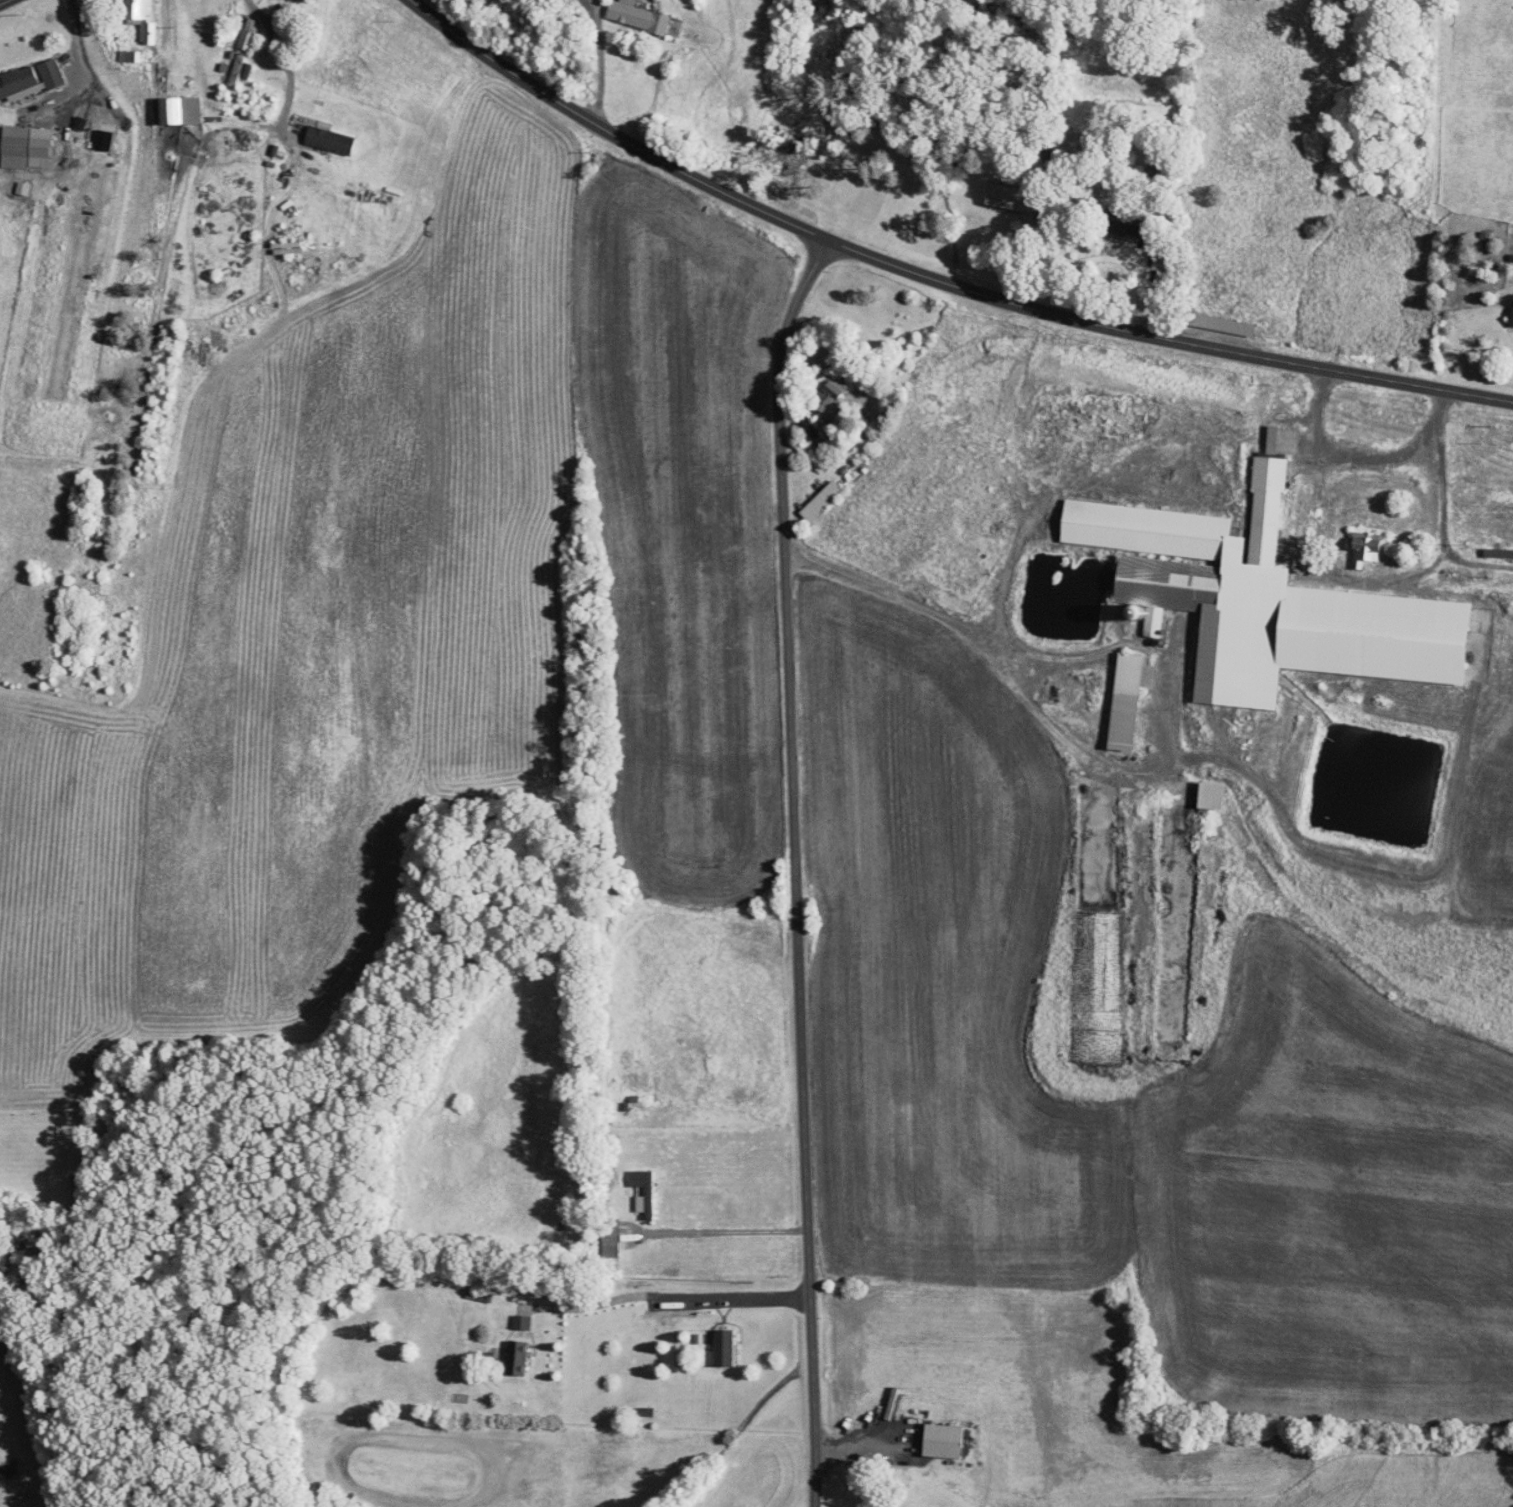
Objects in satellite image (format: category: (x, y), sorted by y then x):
road: (4, 1)
building: (637, 16)
building: (142, 17)
road: (270, 20)
building: (247, 34)
road: (600, 63)
building: (51, 73)
building: (18, 80)
building: (23, 92)
building: (179, 110)
building: (329, 140)
building: (26, 147)
building: (21, 187)
building: (1016, 197)
road: (933, 277)
building: (1511, 317)
building: (1223, 324)
building: (1272, 439)
road: (1375, 458)
building: (821, 501)
road: (1442, 504)
road: (1327, 530)
building: (1365, 546)
building: (1491, 552)
building: (1267, 601)
road: (971, 636)
building: (1126, 700)
road: (1097, 765)
building: (1211, 793)
road: (793, 868)
building: (643, 1191)
road: (724, 1231)
road: (658, 1295)
building: (521, 1321)
building: (724, 1346)
building: (517, 1356)
building: (943, 1440)

